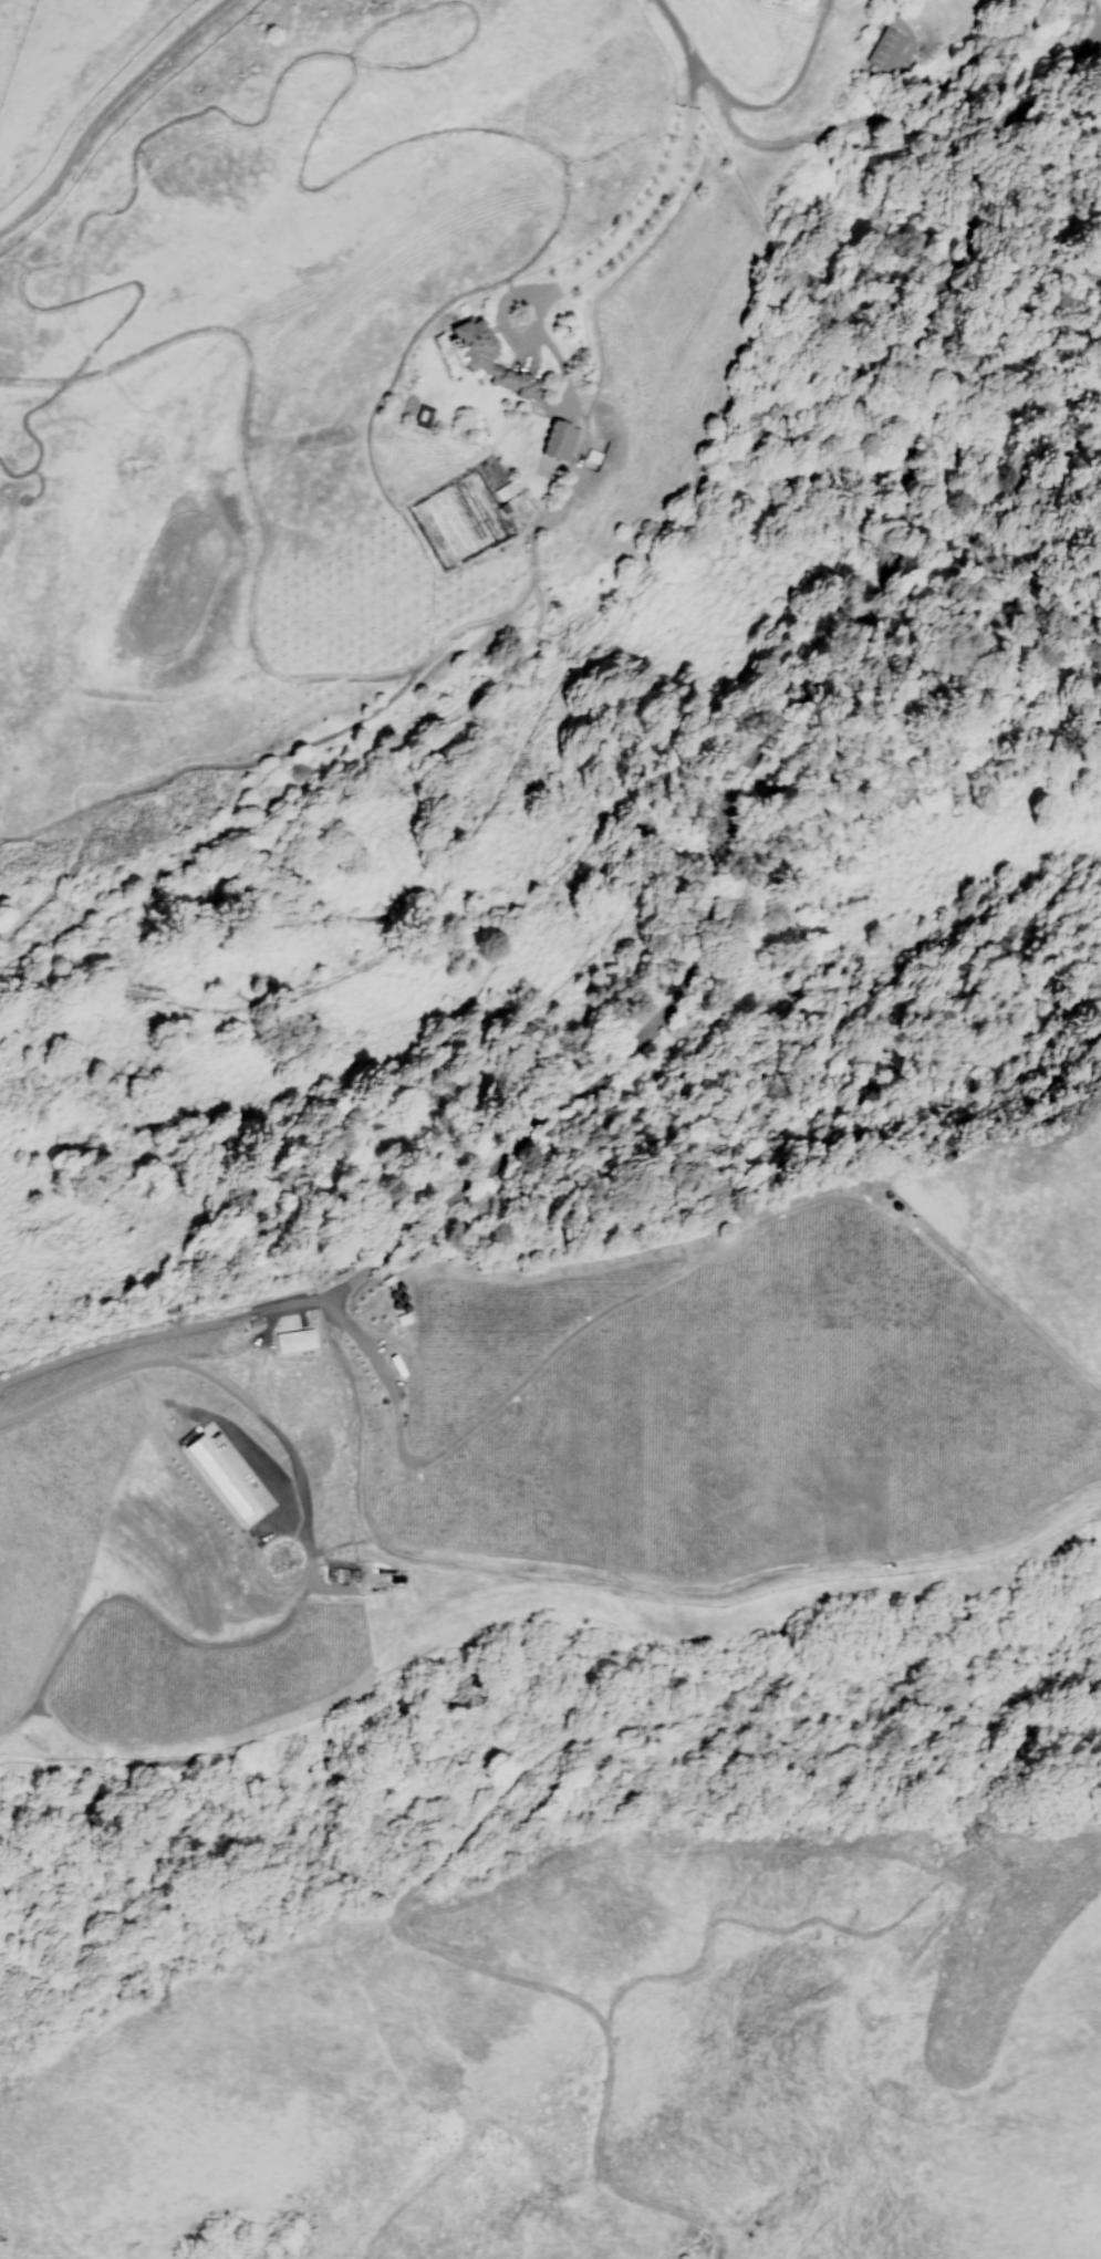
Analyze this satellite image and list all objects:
road: (1093, 11)
road: (889, 13)
road: (478, 19)
road: (672, 33)
building: (881, 50)
road: (780, 96)
road: (106, 108)
road: (879, 116)
road: (448, 131)
road: (643, 207)
road: (665, 223)
building: (486, 360)
building: (555, 441)
road: (30, 495)
road: (267, 674)
road: (713, 863)
building: (292, 1344)
building: (385, 1347)
building: (401, 1367)
building: (221, 1484)
crop: (71, 1490)
road: (304, 1558)
road: (674, 1738)

